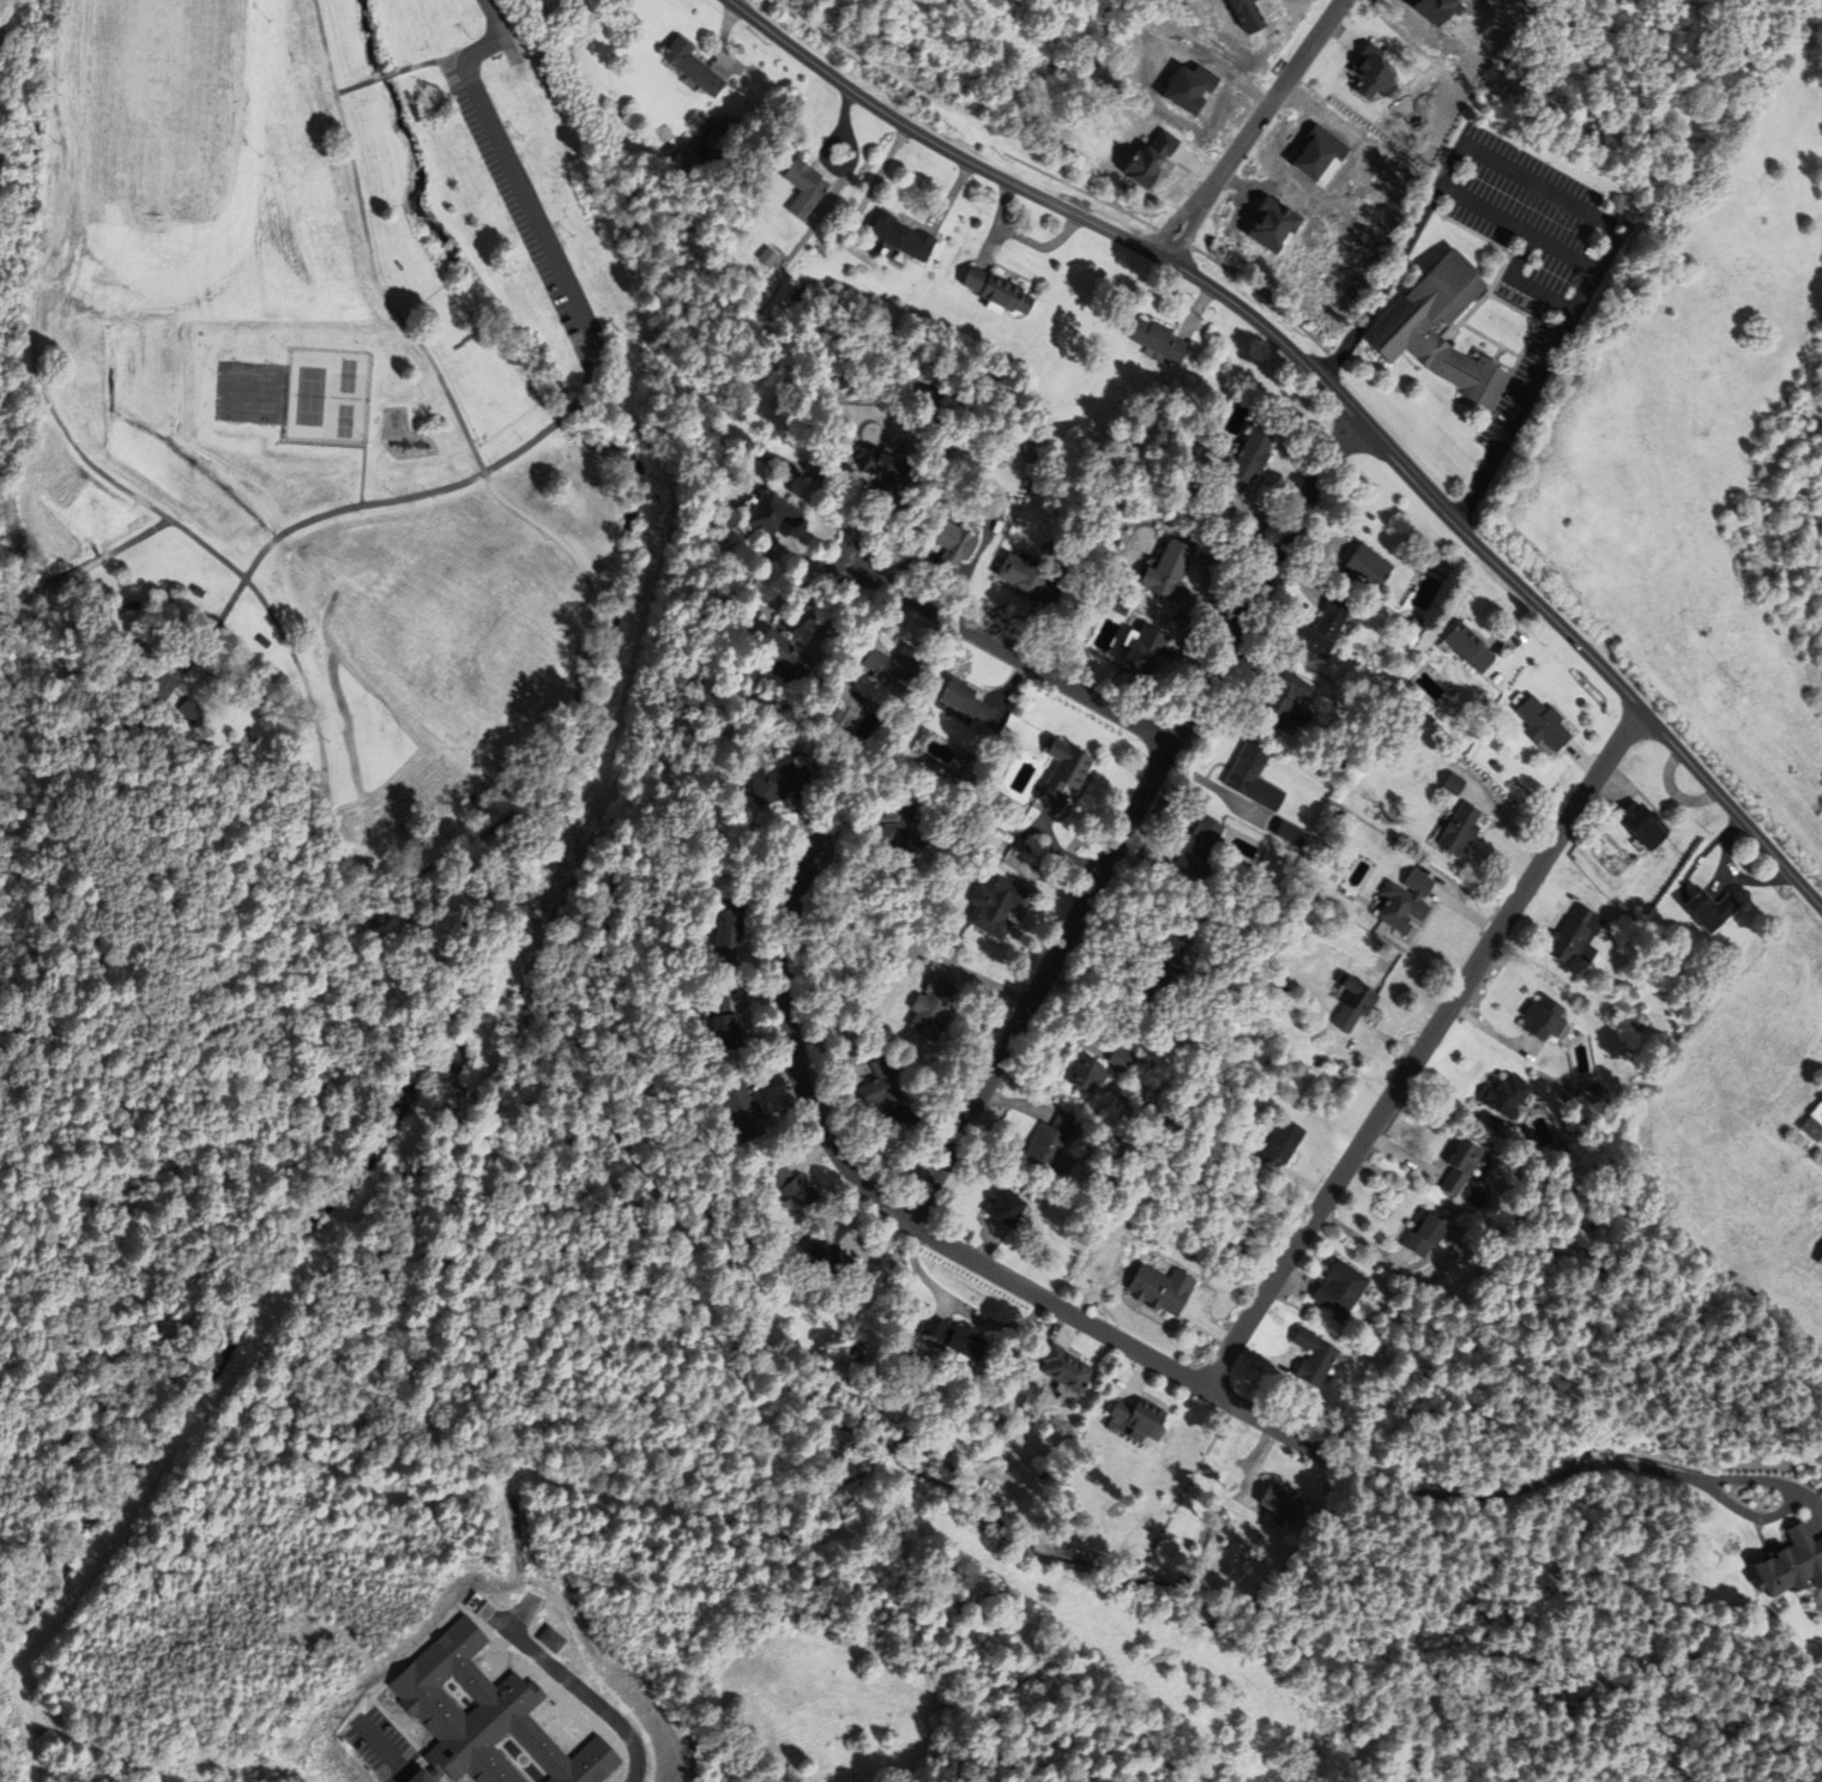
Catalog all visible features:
road: (433, 64)
building: (693, 67)
road: (386, 78)
road: (357, 89)
park: (162, 108)
road: (1253, 129)
road: (503, 158)
road: (1019, 187)
building: (806, 188)
parking lot: (515, 197)
road: (1562, 199)
road: (1518, 228)
building: (903, 238)
building: (1000, 291)
building: (1437, 330)
building: (1162, 342)
park: (251, 393)
park: (328, 398)
building: (1253, 458)
road: (1392, 458)
building: (887, 477)
park: (352, 485)
building: (1001, 500)
road: (384, 502)
building: (774, 515)
building: (952, 539)
road: (86, 568)
building: (1371, 569)
building: (1170, 573)
building: (1031, 581)
building: (198, 593)
building: (133, 606)
building: (1327, 629)
building: (264, 644)
building: (1471, 650)
building: (1146, 651)
road: (1009, 652)
building: (786, 659)
building: (893, 666)
building: (966, 702)
building: (1287, 703)
road: (1640, 711)
building: (191, 712)
building: (1544, 725)
building: (253, 737)
building: (1064, 775)
building: (1254, 780)
building: (780, 783)
building: (1455, 785)
road: (1127, 817)
building: (1637, 823)
building: (1461, 833)
building: (901, 835)
building: (1292, 835)
building: (1201, 848)
road: (402, 881)
road: (1811, 898)
building: (1407, 902)
building: (997, 906)
building: (1708, 910)
building: (731, 934)
building: (1573, 935)
building: (1163, 968)
building: (1356, 1005)
building: (934, 1009)
building: (1540, 1019)
building: (722, 1025)
building: (1171, 1031)
road: (1420, 1049)
road: (792, 1053)
building: (1122, 1059)
building: (1087, 1075)
building: (879, 1097)
building: (1504, 1097)
building: (744, 1114)
building: (1814, 1124)
building: (1051, 1146)
building: (1283, 1147)
building: (1456, 1166)
building: (794, 1191)
building: (1009, 1213)
building: (1419, 1236)
building: (831, 1258)
building: (1820, 1261)
building: (1337, 1289)
building: (1163, 1291)
road: (1055, 1306)
building: (957, 1341)
building: (1309, 1357)
building: (1067, 1371)
building: (1140, 1421)
road: (1260, 1421)
road: (1565, 1469)
building: (1279, 1503)
road: (1821, 1510)
road: (1745, 1515)
road: (1816, 1527)
building: (1788, 1564)
road: (607, 1697)
building: (487, 1720)
road: (385, 1750)

